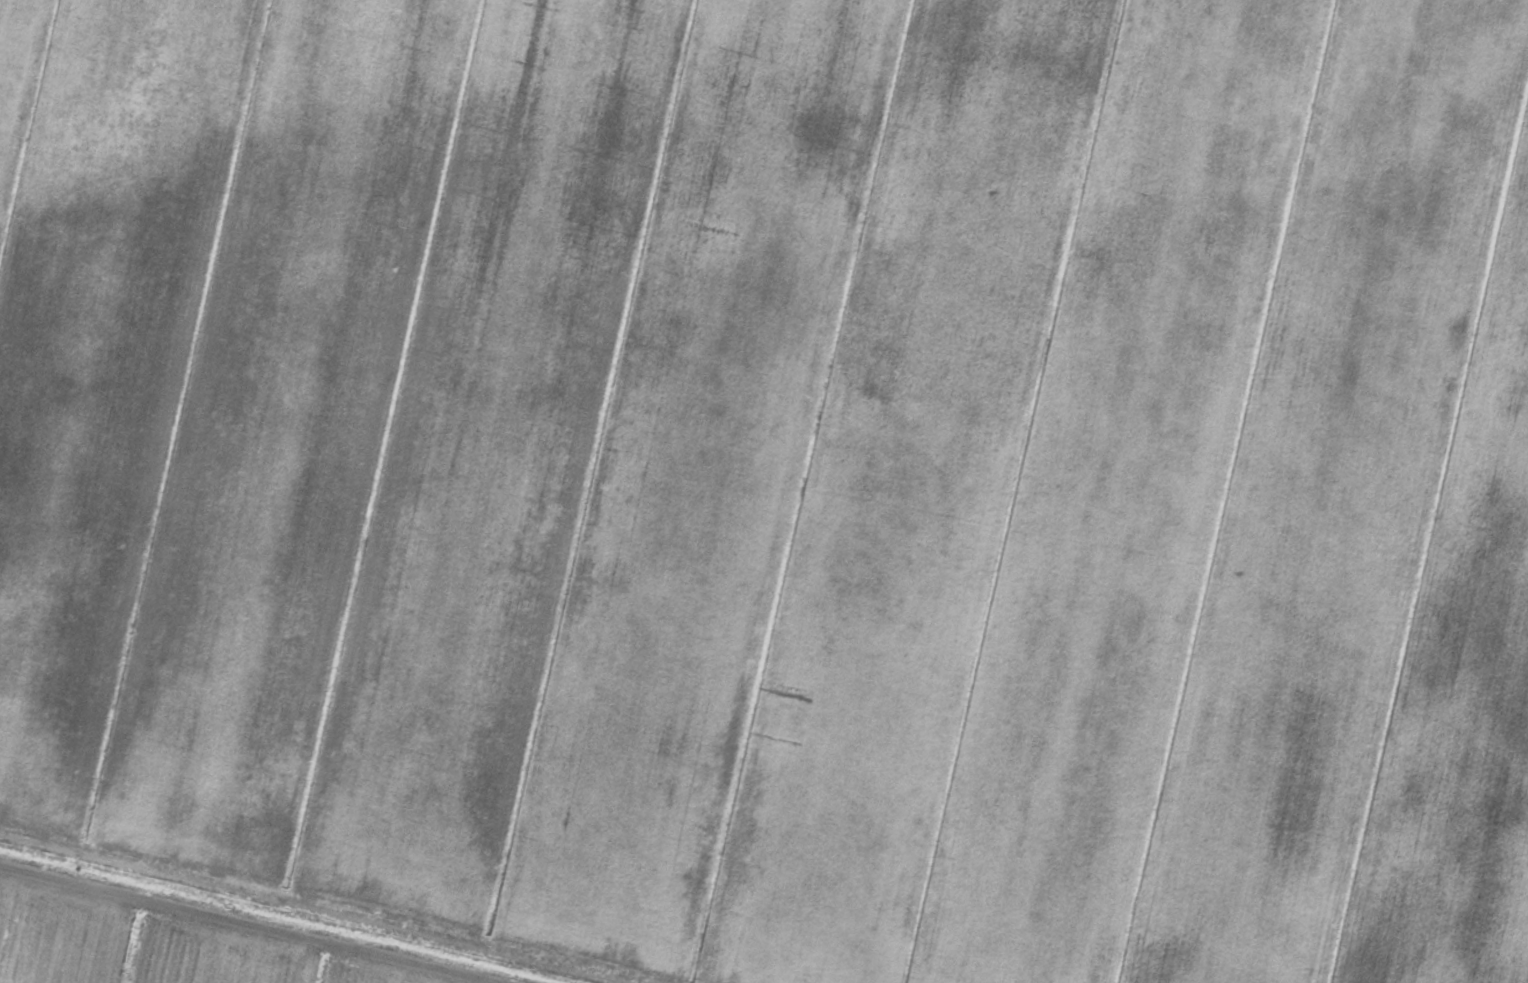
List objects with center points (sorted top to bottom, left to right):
road: (319, 907)

